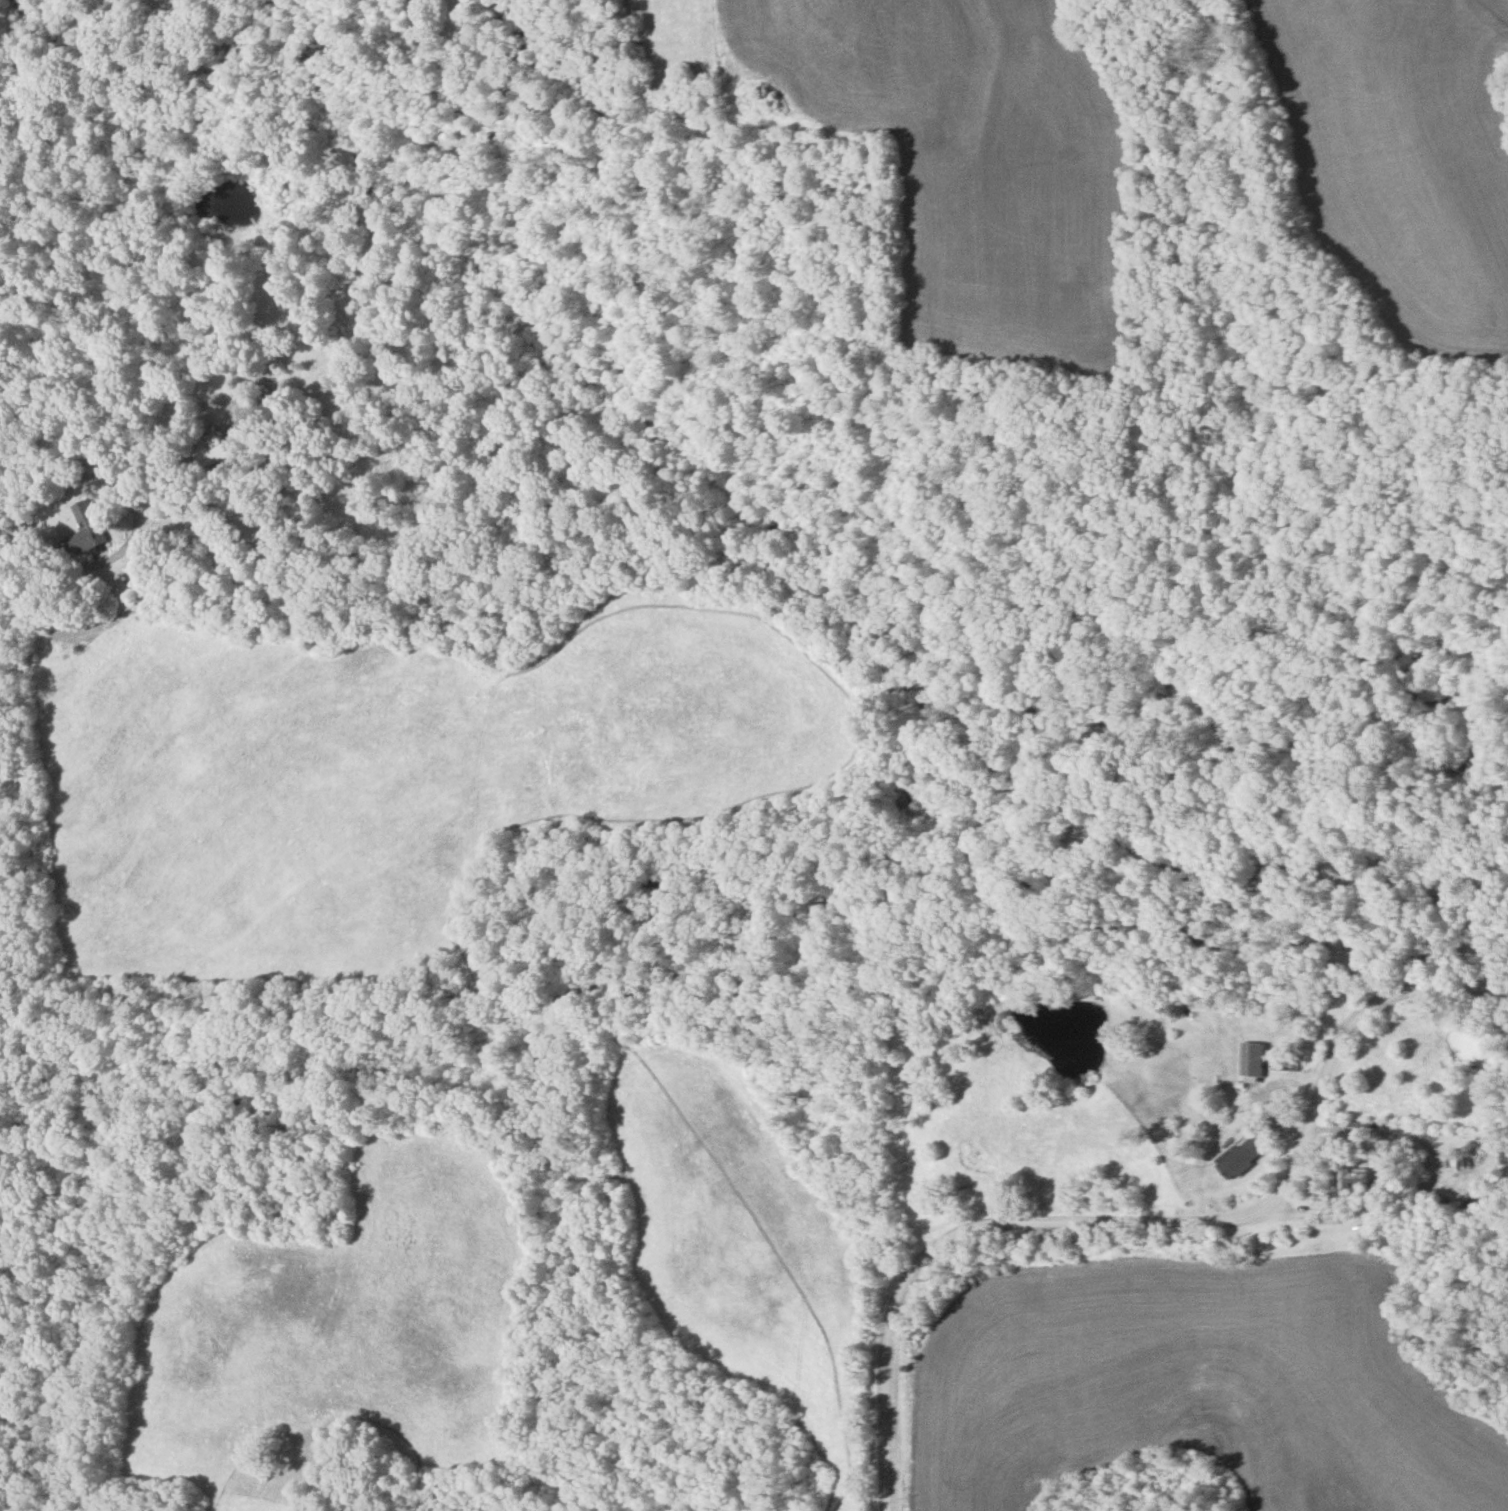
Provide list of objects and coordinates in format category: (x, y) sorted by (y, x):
building: (214, 449)
road: (1, 494)
building: (91, 529)
road: (126, 539)
building: (1253, 1060)
building: (1503, 1155)
building: (1245, 1158)
building: (1354, 1180)
road: (1427, 1182)
road: (1144, 1222)

